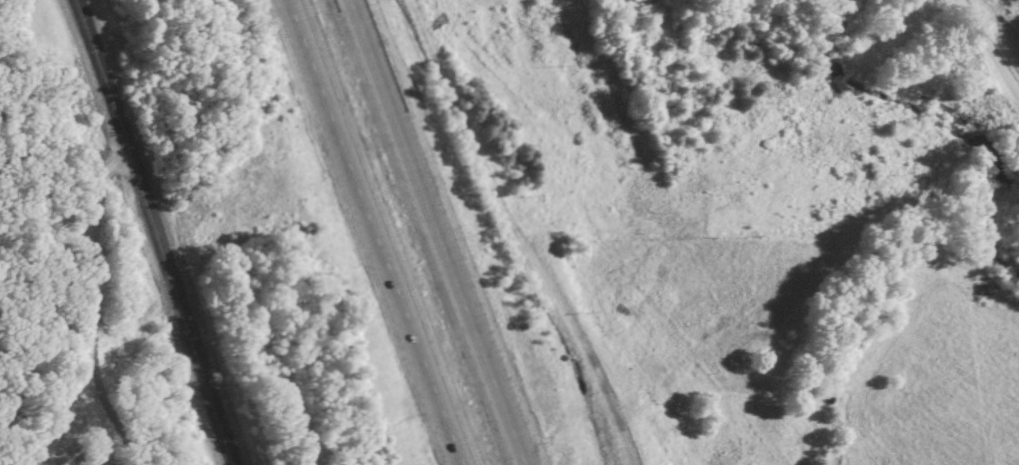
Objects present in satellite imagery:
road: (987, 47)
road: (373, 231)
road: (157, 232)
road: (435, 232)
road: (88, 300)
road: (614, 420)
building: (748, 464)

